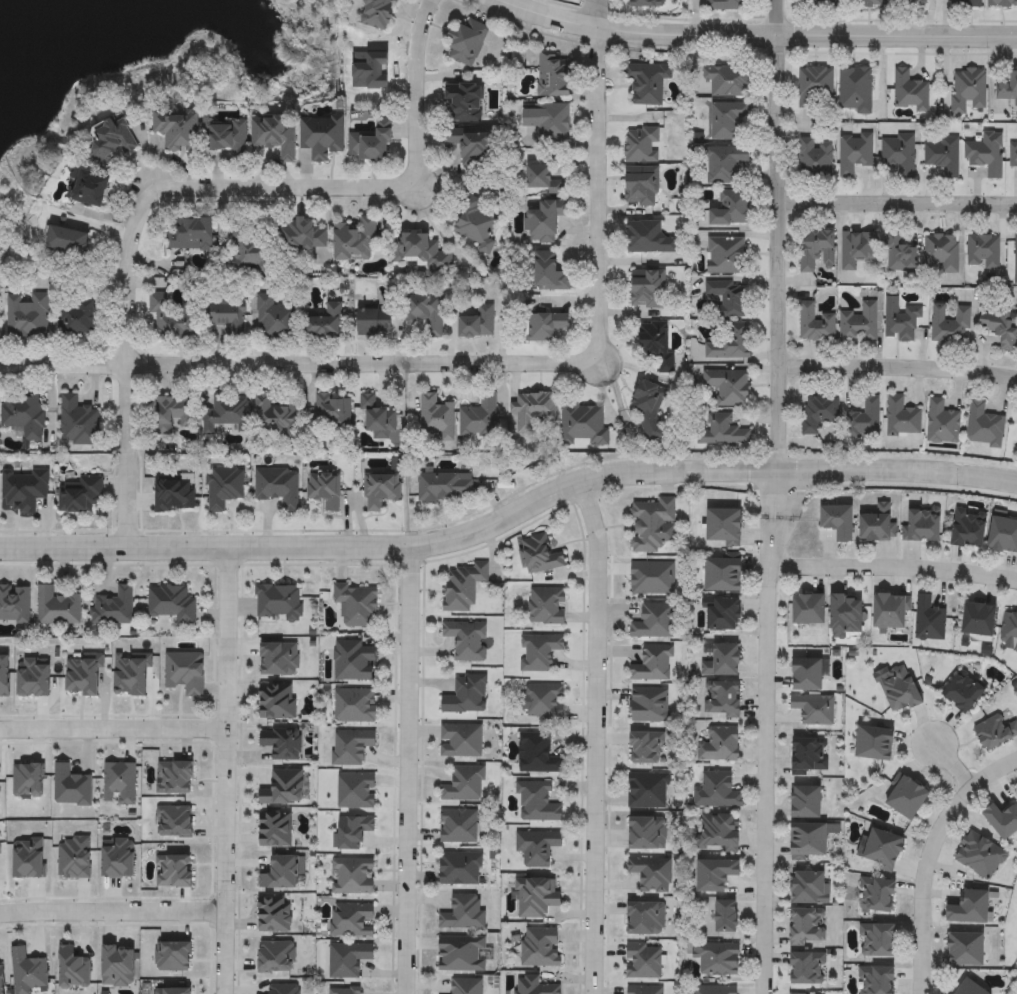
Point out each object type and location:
building: (861, 2)
building: (646, 3)
building: (817, 3)
building: (909, 3)
building: (966, 3)
building: (1002, 3)
building: (728, 5)
building: (378, 13)
road: (758, 33)
building: (467, 43)
building: (554, 76)
building: (727, 81)
building: (647, 84)
building: (815, 87)
building: (1008, 88)
building: (855, 89)
building: (968, 89)
building: (910, 91)
building: (465, 101)
building: (727, 119)
building: (548, 121)
building: (177, 129)
building: (322, 136)
building: (226, 137)
building: (275, 137)
building: (113, 140)
building: (372, 144)
building: (472, 145)
building: (642, 145)
building: (854, 153)
building: (898, 154)
building: (987, 154)
building: (1013, 155)
building: (943, 156)
building: (815, 158)
building: (727, 166)
road: (599, 177)
building: (544, 179)
building: (641, 186)
building: (91, 189)
road: (194, 191)
road: (897, 204)
building: (731, 209)
building: (545, 221)
building: (475, 225)
building: (190, 234)
road: (779, 235)
building: (300, 236)
building: (649, 238)
building: (356, 241)
building: (251, 243)
building: (858, 249)
building: (818, 251)
building: (983, 251)
building: (421, 252)
building: (900, 253)
building: (942, 254)
building: (728, 255)
building: (1015, 260)
building: (550, 272)
building: (648, 289)
building: (728, 300)
building: (426, 313)
building: (28, 317)
building: (173, 318)
building: (226, 318)
building: (275, 319)
building: (79, 320)
building: (900, 321)
building: (324, 323)
building: (375, 323)
building: (477, 323)
building: (859, 323)
building: (815, 324)
building: (950, 325)
building: (1000, 325)
building: (545, 326)
building: (730, 343)
building: (656, 345)
road: (300, 363)
road: (898, 366)
building: (728, 388)
building: (533, 410)
building: (819, 413)
building: (173, 414)
building: (331, 414)
building: (24, 415)
building: (250, 416)
building: (902, 417)
building: (377, 418)
building: (436, 419)
building: (480, 419)
building: (865, 419)
building: (78, 422)
building: (942, 423)
building: (584, 425)
building: (984, 426)
building: (723, 431)
road: (898, 469)
building: (277, 485)
building: (444, 486)
building: (224, 487)
building: (24, 488)
building: (324, 490)
building: (380, 490)
building: (79, 494)
building: (174, 494)
building: (838, 522)
building: (922, 524)
building: (651, 525)
building: (878, 525)
building: (725, 527)
building: (969, 530)
building: (1003, 536)
road: (397, 551)
building: (539, 555)
road: (893, 565)
building: (724, 576)
building: (463, 587)
building: (278, 603)
building: (172, 604)
building: (14, 605)
building: (356, 606)
building: (546, 607)
building: (57, 608)
building: (113, 608)
building: (809, 610)
building: (892, 612)
building: (724, 615)
building: (846, 615)
building: (929, 620)
building: (980, 620)
building: (654, 622)
building: (1010, 629)
building: (467, 640)
building: (539, 652)
building: (354, 661)
building: (723, 662)
building: (653, 665)
building: (184, 673)
building: (807, 676)
building: (901, 691)
building: (963, 694)
building: (466, 696)
building: (723, 700)
building: (277, 702)
building: (544, 702)
building: (354, 706)
building: (650, 706)
building: (813, 709)
road: (113, 729)
road: (766, 732)
building: (995, 732)
road: (596, 736)
building: (461, 742)
building: (282, 743)
building: (875, 744)
building: (719, 745)
building: (351, 748)
building: (536, 754)
building: (810, 758)
road: (951, 767)
road: (406, 772)
road: (225, 773)
building: (464, 785)
building: (70, 787)
building: (287, 787)
building: (356, 791)
building: (648, 791)
building: (719, 792)
building: (907, 798)
building: (536, 803)
building: (807, 804)
building: (1003, 821)
building: (458, 826)
building: (275, 830)
building: (354, 832)
building: (719, 834)
building: (809, 842)
building: (536, 848)
building: (884, 850)
road: (928, 857)
building: (980, 857)
building: (460, 869)
building: (652, 874)
building: (716, 876)
building: (353, 877)
building: (811, 889)
building: (877, 897)
building: (536, 898)
building: (970, 909)
road: (112, 914)
building: (464, 914)
building: (274, 915)
building: (728, 917)
building: (352, 920)
building: (806, 928)
building: (878, 942)
building: (540, 948)
building: (966, 951)
building: (463, 954)
building: (348, 959)
building: (717, 959)
building: (643, 962)
building: (807, 969)
building: (877, 981)
building: (466, 986)
building: (534, 986)
building: (970, 989)
building: (346, 990)
building: (644, 990)
building: (715, 990)

